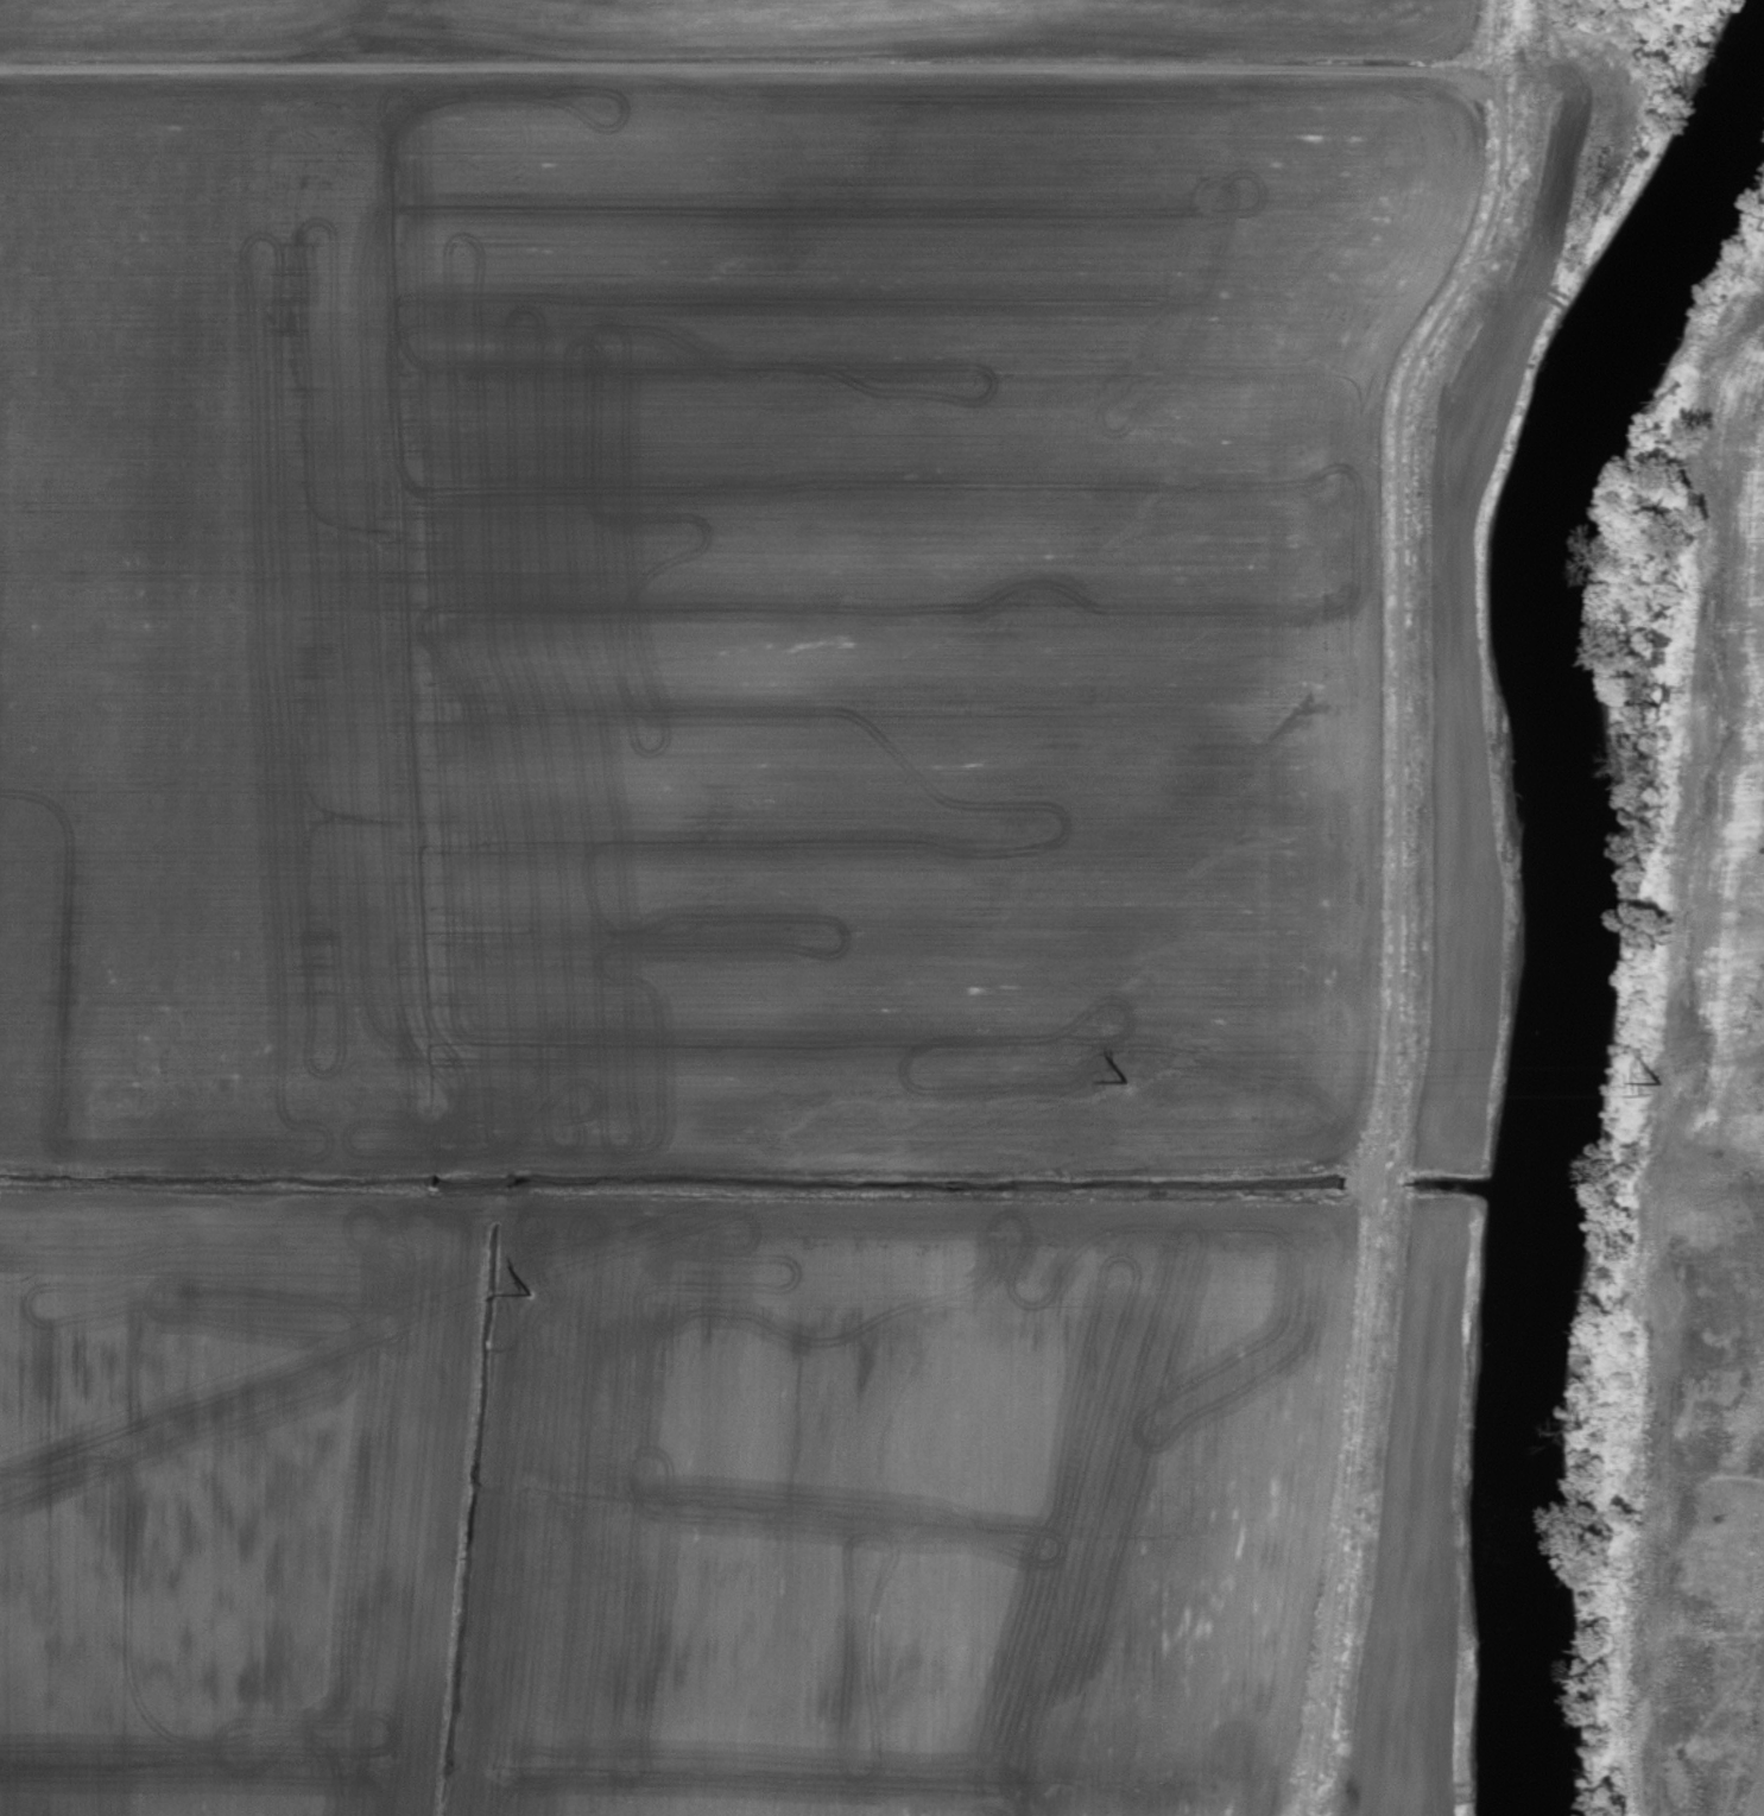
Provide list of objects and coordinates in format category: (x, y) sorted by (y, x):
river: (1563, 916)
power tower: (1121, 1089)
power tower: (1671, 1092)
power tower: (535, 1305)

